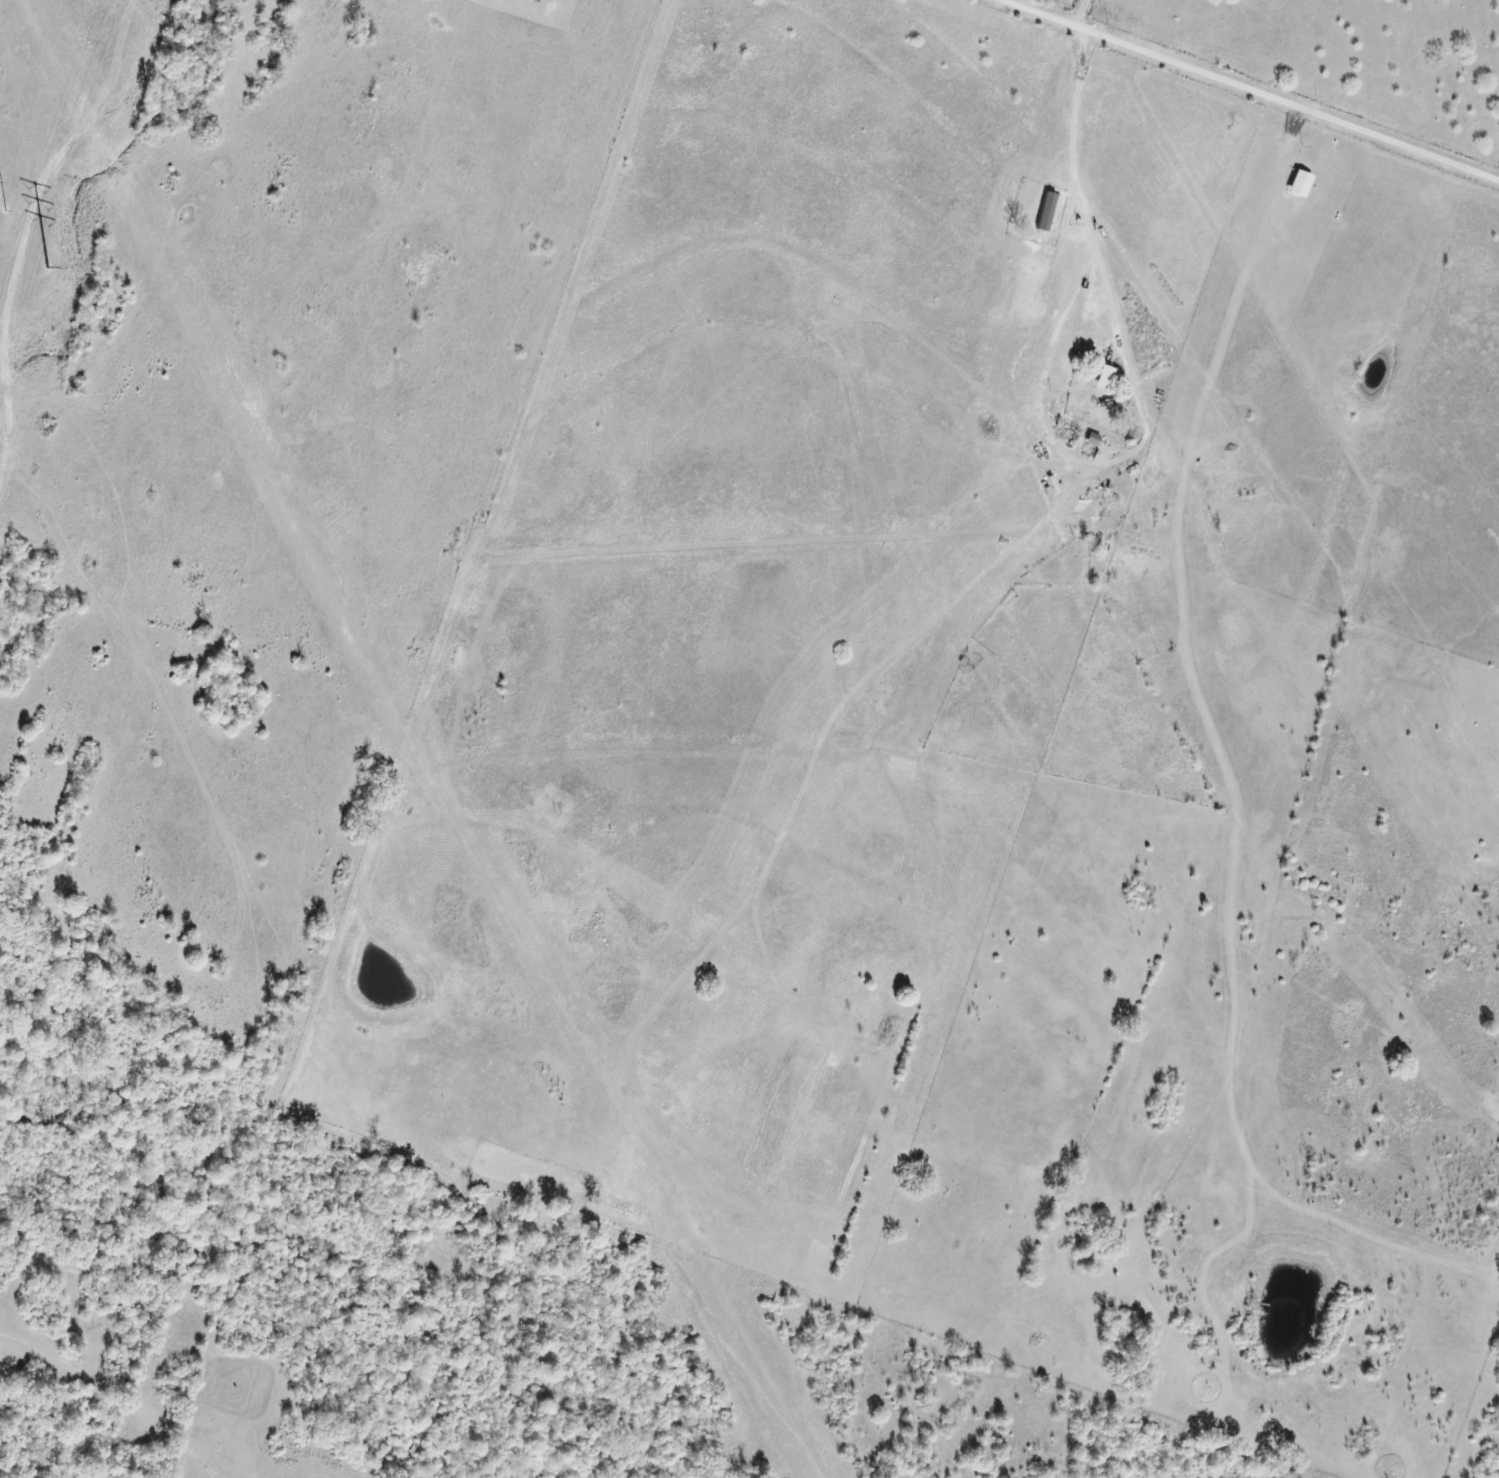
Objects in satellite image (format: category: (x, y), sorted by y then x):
road: (1241, 94)
building: (1298, 185)
power tower: (6, 210)
building: (1047, 212)

